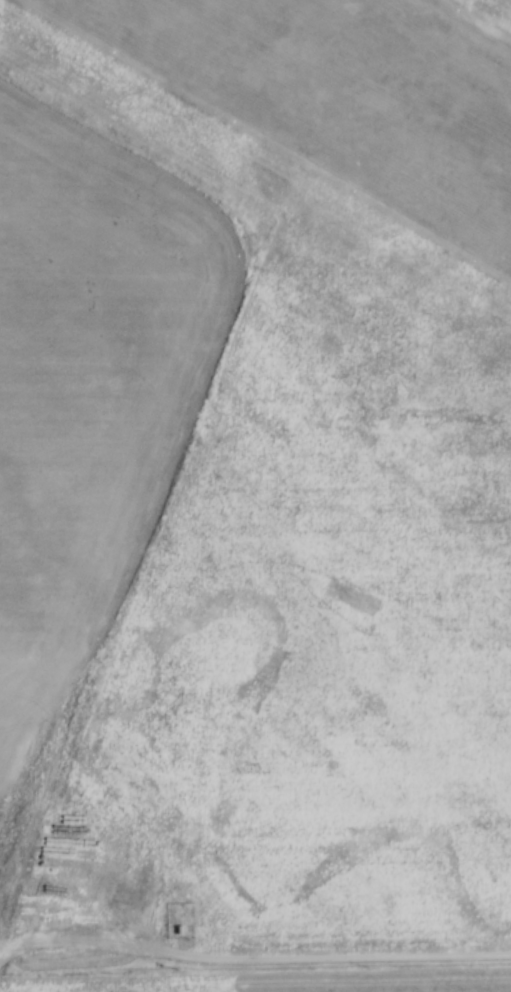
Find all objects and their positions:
airport runway: (368, 84)
airport: (322, 121)

